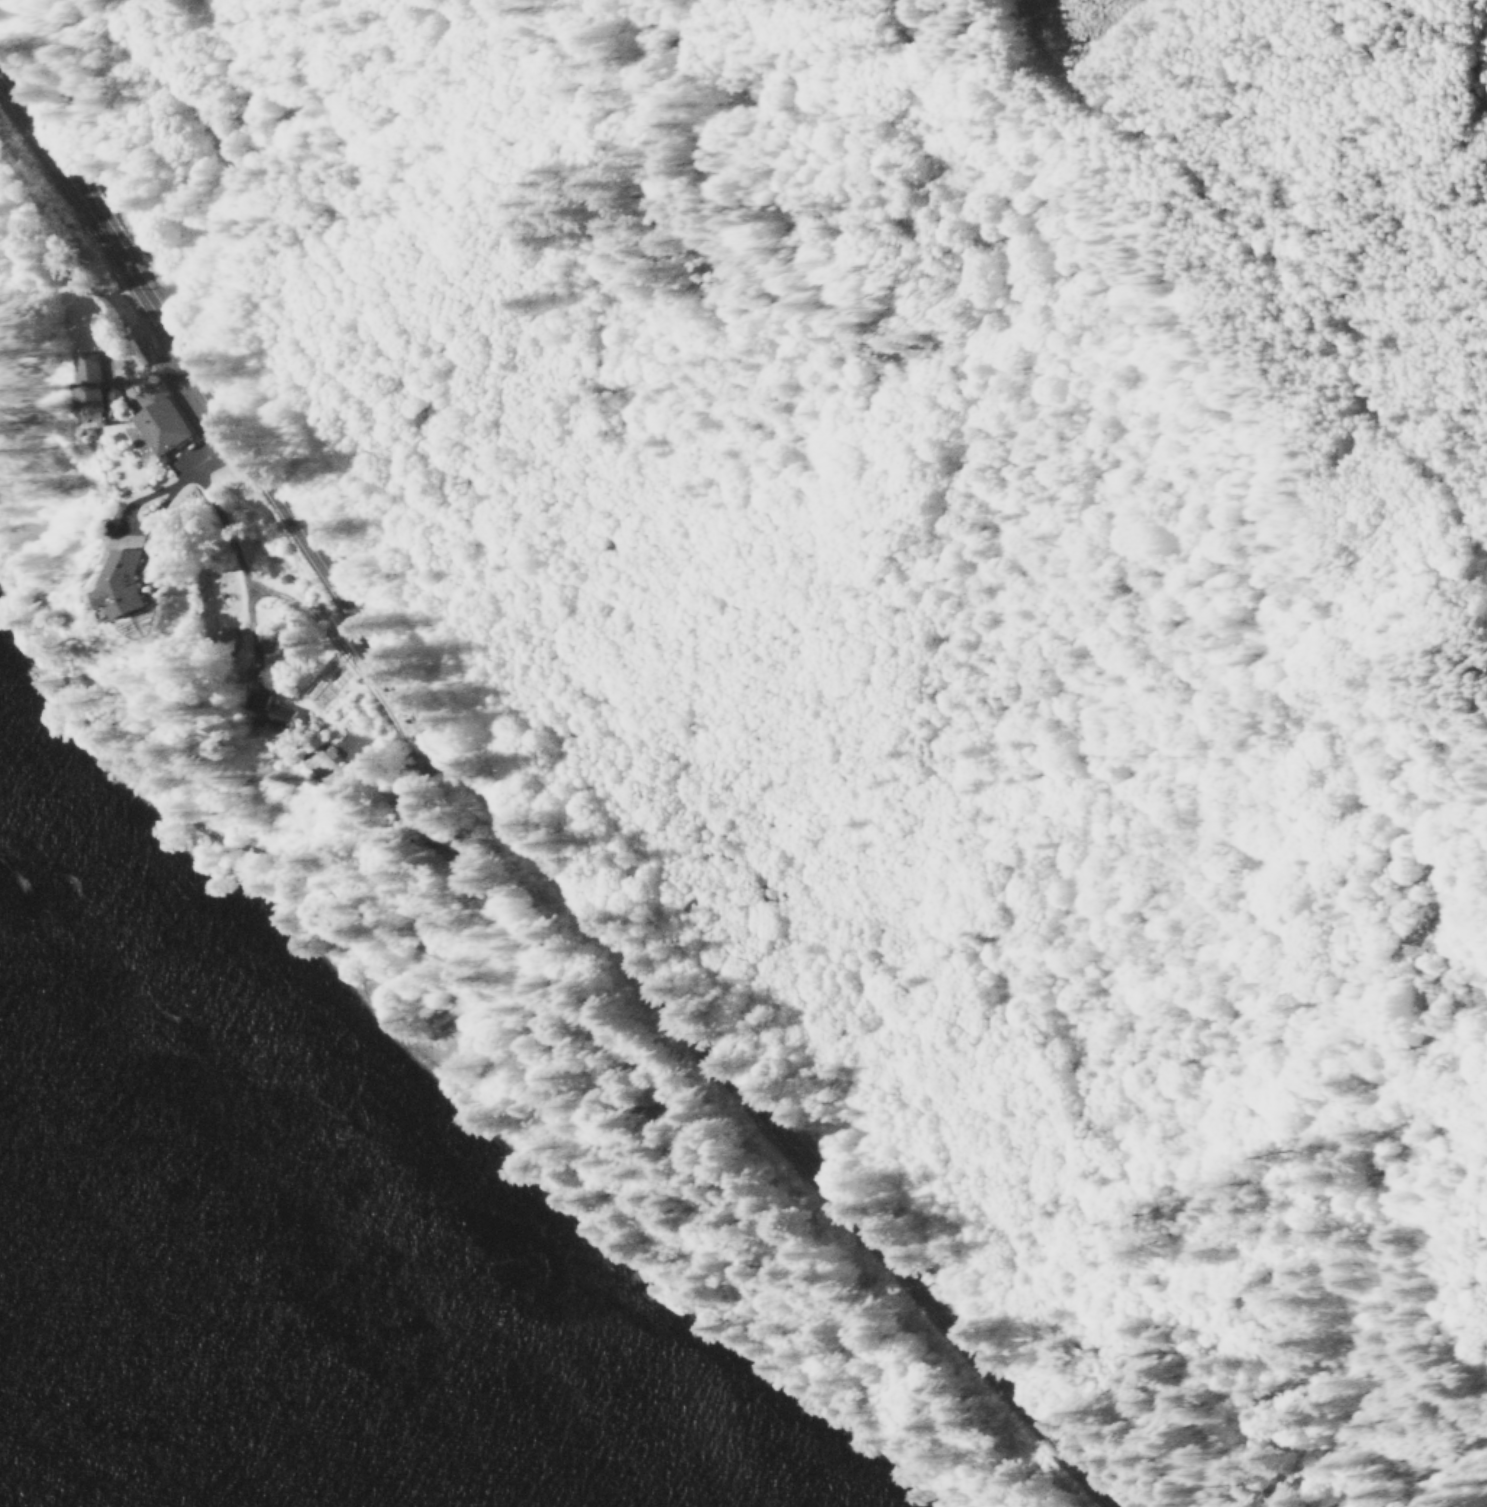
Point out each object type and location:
road: (216, 158)
road: (1258, 278)
building: (94, 385)
building: (161, 421)
building: (147, 580)
building: (271, 710)
building: (330, 767)
road: (507, 832)

